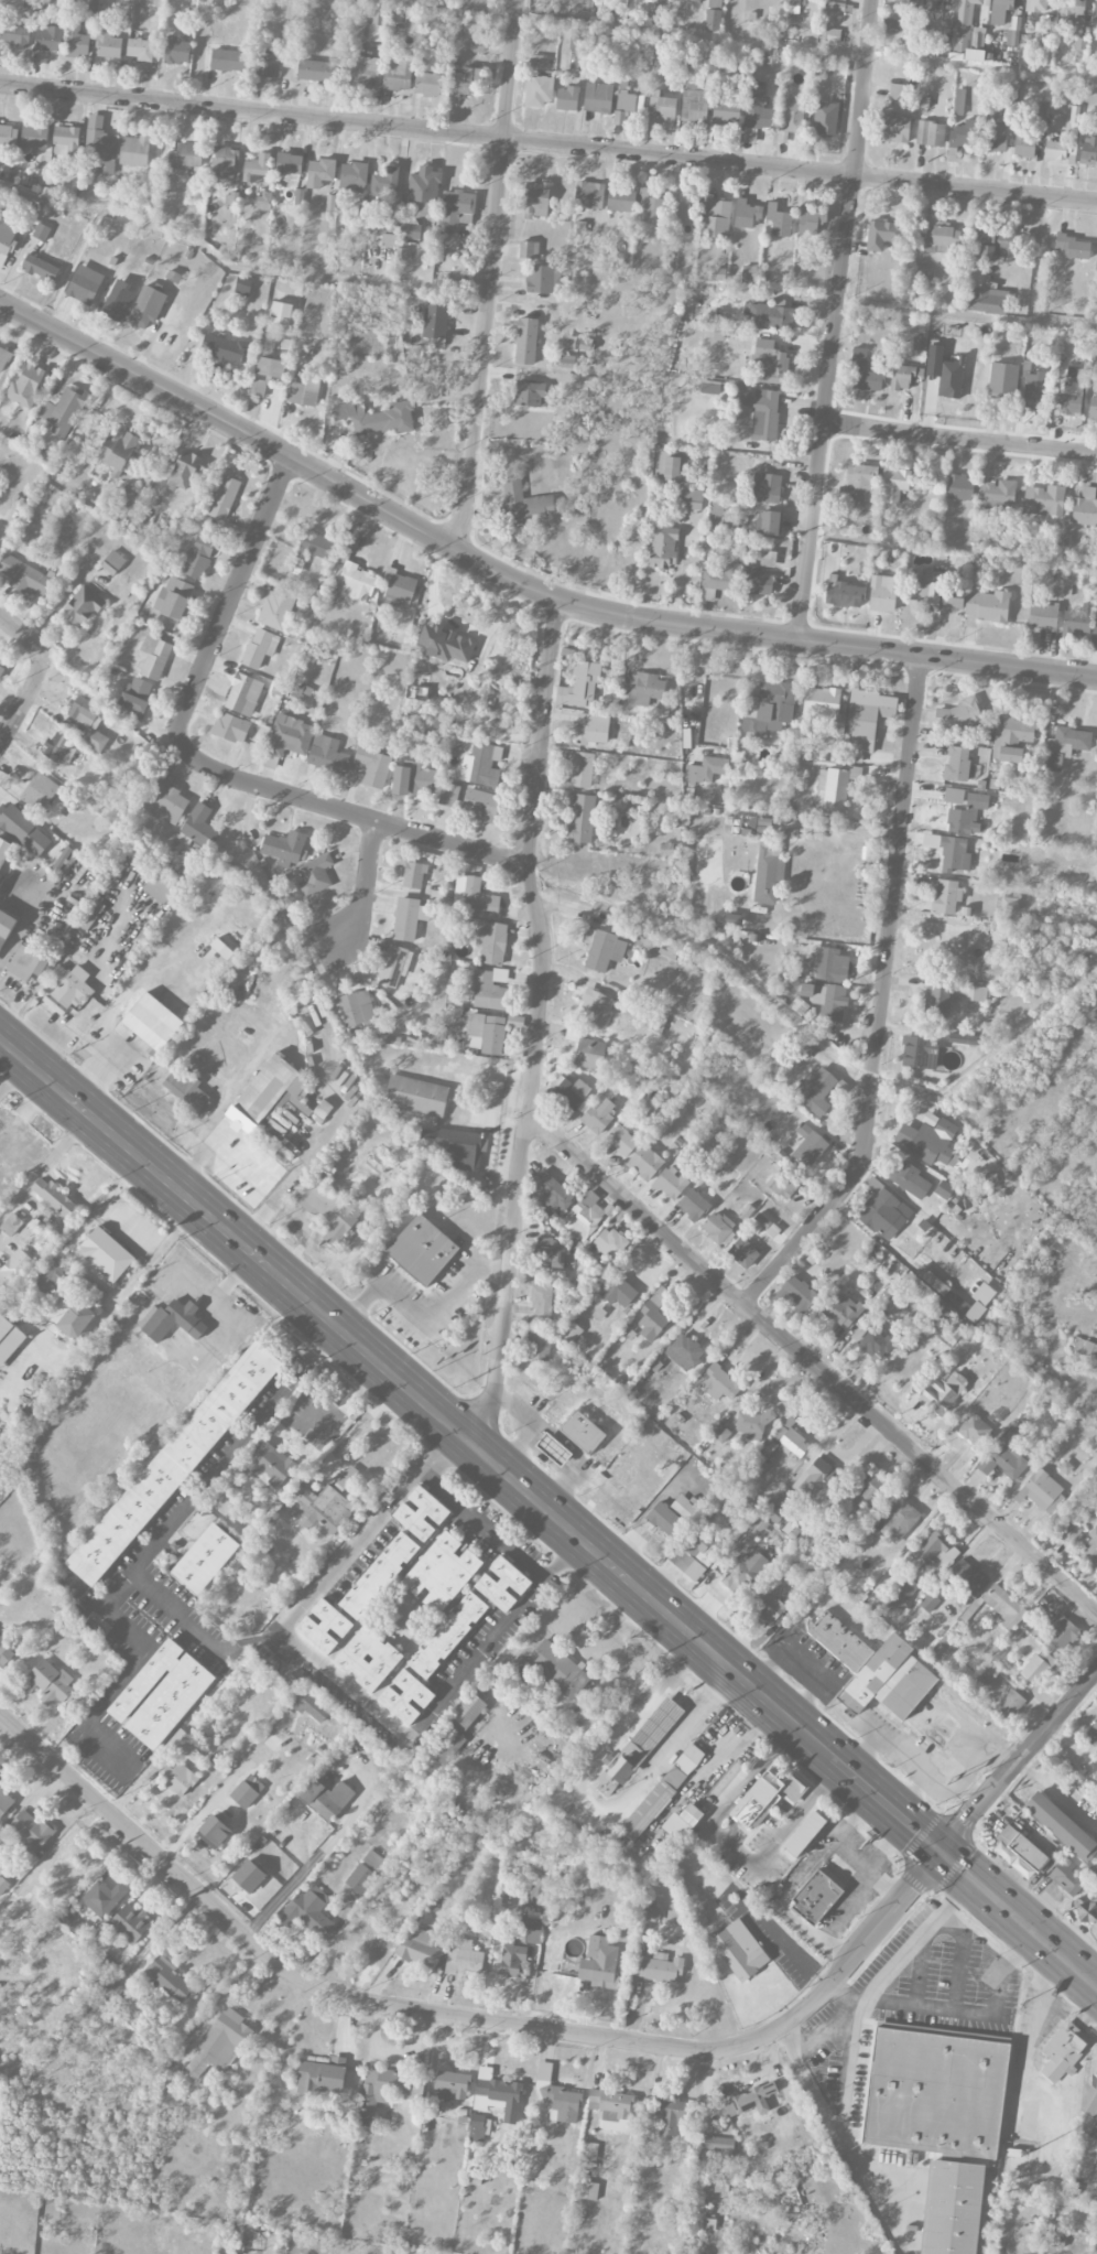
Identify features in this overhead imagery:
building: (909, 2)
building: (154, 3)
building: (931, 4)
building: (836, 6)
building: (1036, 6)
building: (793, 7)
building: (292, 9)
building: (1096, 10)
building: (1000, 11)
building: (1072, 11)
building: (713, 14)
building: (379, 17)
building: (890, 25)
building: (967, 28)
building: (14, 35)
building: (833, 35)
building: (1011, 36)
building: (48, 37)
building: (76, 37)
road: (729, 39)
building: (578, 40)
building: (107, 42)
building: (1080, 42)
building: (141, 48)
building: (176, 51)
road: (197, 52)
building: (229, 61)
building: (536, 61)
building: (268, 64)
building: (317, 71)
building: (365, 72)
building: (398, 74)
building: (464, 83)
building: (428, 85)
building: (539, 90)
building: (898, 91)
building: (597, 97)
building: (567, 98)
building: (628, 101)
building: (959, 101)
building: (694, 105)
building: (662, 106)
building: (758, 109)
building: (726, 112)
building: (790, 114)
building: (825, 119)
building: (1074, 123)
building: (893, 128)
building: (996, 130)
building: (930, 133)
building: (964, 133)
building: (8, 136)
building: (34, 137)
building: (67, 137)
road: (547, 143)
building: (100, 145)
building: (1024, 145)
building: (1088, 148)
building: (134, 151)
building: (185, 158)
building: (224, 162)
building: (289, 164)
building: (257, 169)
building: (319, 172)
building: (352, 176)
building: (385, 182)
building: (588, 195)
building: (621, 198)
building: (536, 199)
building: (263, 201)
building: (694, 201)
building: (651, 206)
building: (680, 206)
building: (362, 207)
building: (455, 209)
building: (746, 214)
building: (715, 217)
building: (779, 220)
building: (812, 220)
building: (410, 230)
building: (41, 231)
building: (883, 234)
building: (7, 235)
building: (942, 238)
building: (389, 240)
building: (997, 244)
building: (1072, 247)
building: (529, 249)
road: (236, 265)
building: (40, 268)
road: (67, 269)
building: (749, 274)
road: (491, 277)
building: (173, 278)
building: (543, 279)
building: (85, 284)
building: (243, 287)
building: (987, 300)
building: (112, 303)
building: (146, 308)
road: (967, 314)
building: (280, 315)
building: (771, 316)
road: (835, 319)
building: (435, 322)
building: (718, 333)
building: (525, 341)
building: (919, 342)
building: (586, 344)
building: (225, 349)
building: (3, 358)
building: (769, 363)
building: (270, 367)
building: (865, 373)
building: (904, 376)
building: (1002, 378)
building: (949, 379)
building: (25, 386)
building: (258, 388)
building: (709, 388)
building: (1035, 390)
building: (303, 392)
building: (1072, 392)
building: (529, 393)
building: (1093, 407)
building: (64, 411)
building: (757, 412)
building: (377, 418)
road: (960, 436)
building: (117, 451)
building: (672, 467)
building: (185, 471)
building: (858, 484)
building: (894, 484)
building: (767, 487)
building: (960, 487)
building: (225, 494)
building: (998, 495)
building: (129, 497)
building: (691, 498)
building: (1044, 500)
building: (525, 505)
building: (1085, 507)
building: (716, 513)
building: (769, 522)
building: (314, 546)
building: (663, 547)
road: (954, 548)
building: (198, 556)
building: (768, 559)
building: (112, 562)
building: (24, 575)
building: (721, 578)
road: (518, 581)
building: (757, 581)
building: (356, 583)
building: (401, 589)
building: (883, 593)
building: (934, 593)
building: (845, 594)
road: (231, 595)
building: (174, 597)
building: (987, 605)
building: (83, 606)
building: (278, 607)
building: (1043, 616)
building: (1077, 622)
building: (446, 644)
building: (260, 647)
building: (154, 657)
building: (1, 668)
road: (39, 676)
building: (580, 686)
building: (644, 686)
building: (416, 693)
building: (243, 694)
building: (137, 695)
building: (822, 700)
building: (769, 709)
building: (959, 715)
building: (868, 720)
building: (89, 722)
building: (230, 727)
building: (591, 729)
building: (289, 736)
building: (1069, 738)
building: (1013, 740)
building: (59, 747)
building: (327, 755)
building: (1051, 762)
building: (957, 764)
building: (481, 765)
building: (373, 766)
building: (797, 766)
building: (579, 767)
building: (706, 769)
building: (63, 772)
building: (414, 780)
building: (833, 789)
building: (39, 792)
building: (448, 795)
building: (954, 796)
building: (166, 800)
building: (480, 805)
road: (346, 811)
building: (967, 815)
building: (580, 818)
building: (199, 826)
road: (843, 827)
building: (23, 830)
building: (284, 845)
building: (666, 849)
building: (4, 851)
building: (952, 852)
building: (769, 873)
building: (313, 875)
building: (413, 875)
building: (159, 889)
building: (946, 896)
building: (475, 897)
road: (362, 904)
building: (1009, 904)
building: (966, 912)
building: (90, 914)
building: (409, 918)
building: (732, 919)
building: (6, 927)
building: (491, 942)
building: (602, 949)
building: (225, 951)
building: (669, 951)
building: (26, 964)
building: (828, 964)
building: (394, 966)
building: (69, 985)
building: (490, 989)
building: (977, 993)
building: (826, 999)
road: (881, 999)
building: (936, 1003)
building: (799, 1005)
building: (595, 1007)
building: (356, 1009)
building: (656, 1021)
building: (152, 1022)
road: (540, 1022)
building: (486, 1033)
road: (823, 1038)
building: (966, 1039)
building: (915, 1051)
building: (589, 1054)
road: (12, 1074)
building: (187, 1090)
building: (267, 1090)
building: (816, 1090)
building: (572, 1092)
building: (416, 1096)
building: (323, 1109)
building: (598, 1117)
building: (928, 1140)
building: (621, 1141)
building: (808, 1145)
building: (460, 1147)
building: (378, 1161)
building: (644, 1162)
road: (44, 1165)
building: (909, 1179)
building: (671, 1183)
building: (784, 1184)
building: (944, 1189)
building: (551, 1193)
building: (54, 1198)
building: (694, 1205)
building: (332, 1207)
building: (883, 1211)
building: (746, 1212)
building: (584, 1216)
building: (11, 1225)
building: (717, 1227)
building: (769, 1228)
building: (610, 1243)
building: (422, 1249)
building: (108, 1252)
building: (551, 1253)
building: (743, 1253)
building: (14, 1269)
building: (48, 1279)
building: (87, 1288)
building: (942, 1288)
building: (619, 1291)
building: (800, 1293)
building: (541, 1299)
building: (890, 1304)
building: (840, 1308)
building: (975, 1312)
road: (421, 1314)
building: (598, 1314)
building: (653, 1314)
building: (76, 1319)
building: (171, 1323)
building: (859, 1333)
building: (575, 1337)
building: (9, 1338)
building: (876, 1344)
building: (539, 1347)
building: (1083, 1348)
building: (684, 1351)
road: (813, 1362)
building: (719, 1382)
building: (939, 1394)
building: (752, 1424)
building: (975, 1431)
building: (583, 1432)
building: (721, 1434)
road: (517, 1442)
road: (565, 1442)
building: (780, 1448)
building: (554, 1449)
road: (545, 1457)
building: (1002, 1462)
building: (174, 1463)
building: (271, 1463)
building: (1065, 1467)
building: (858, 1475)
building: (347, 1477)
building: (815, 1482)
building: (1039, 1489)
building: (871, 1490)
building: (775, 1507)
building: (683, 1508)
building: (322, 1509)
road: (550, 1511)
building: (421, 1513)
building: (665, 1519)
building: (900, 1520)
building: (760, 1524)
road: (482, 1527)
building: (1069, 1532)
building: (866, 1536)
road: (151, 1544)
building: (936, 1551)
building: (1089, 1551)
building: (694, 1553)
building: (205, 1559)
building: (913, 1560)
building: (743, 1571)
building: (442, 1572)
building: (379, 1575)
building: (968, 1577)
building: (503, 1584)
building: (903, 1596)
road: (307, 1598)
building: (928, 1601)
building: (769, 1606)
building: (1004, 1606)
building: (404, 1615)
building: (967, 1615)
building: (324, 1627)
building: (1060, 1631)
building: (448, 1635)
road: (495, 1637)
building: (839, 1641)
building: (6, 1652)
building: (368, 1659)
building: (1038, 1667)
building: (560, 1670)
building: (988, 1673)
building: (889, 1680)
road: (343, 1681)
building: (50, 1683)
building: (162, 1694)
building: (405, 1697)
building: (1009, 1704)
building: (311, 1706)
building: (467, 1713)
building: (1091, 1736)
road: (107, 1743)
building: (175, 1745)
building: (447, 1745)
building: (637, 1748)
road: (1018, 1761)
road: (926, 1776)
building: (178, 1778)
building: (247, 1791)
building: (662, 1792)
road: (910, 1792)
road: (970, 1792)
building: (764, 1795)
building: (319, 1800)
building: (4, 1801)
road: (590, 1803)
road: (210, 1804)
building: (682, 1822)
building: (1061, 1825)
building: (31, 1831)
building: (214, 1832)
building: (804, 1834)
road: (731, 1845)
traffic signals: (941, 1851)
building: (1019, 1852)
road: (316, 1857)
road: (868, 1868)
building: (65, 1873)
building: (1066, 1877)
building: (359, 1878)
road: (796, 1880)
building: (3, 1885)
building: (536, 1891)
building: (816, 1896)
building: (104, 1898)
road: (848, 1907)
building: (307, 1911)
building: (649, 1913)
building: (19, 1918)
building: (73, 1922)
building: (130, 1922)
building: (531, 1927)
road: (782, 1934)
building: (419, 1948)
building: (740, 1950)
building: (464, 1958)
road: (960, 1958)
building: (511, 1959)
building: (599, 1964)
building: (660, 1967)
road: (920, 1969)
building: (170, 1981)
road: (872, 1991)
road: (840, 1993)
road: (460, 2015)
road: (978, 2015)
road: (1035, 2023)
road: (826, 2024)
building: (219, 2045)
building: (1063, 2051)
building: (1096, 2074)
building: (321, 2075)
building: (452, 2085)
building: (385, 2091)
building: (935, 2093)
building: (497, 2095)
building: (557, 2096)
building: (748, 2099)
building: (1088, 2101)
building: (431, 2107)
building: (611, 2109)
building: (669, 2115)
building: (479, 2128)
road: (840, 2143)
building: (718, 2145)
building: (589, 2151)
building: (588, 2190)
building: (952, 2208)
building: (1056, 2242)

